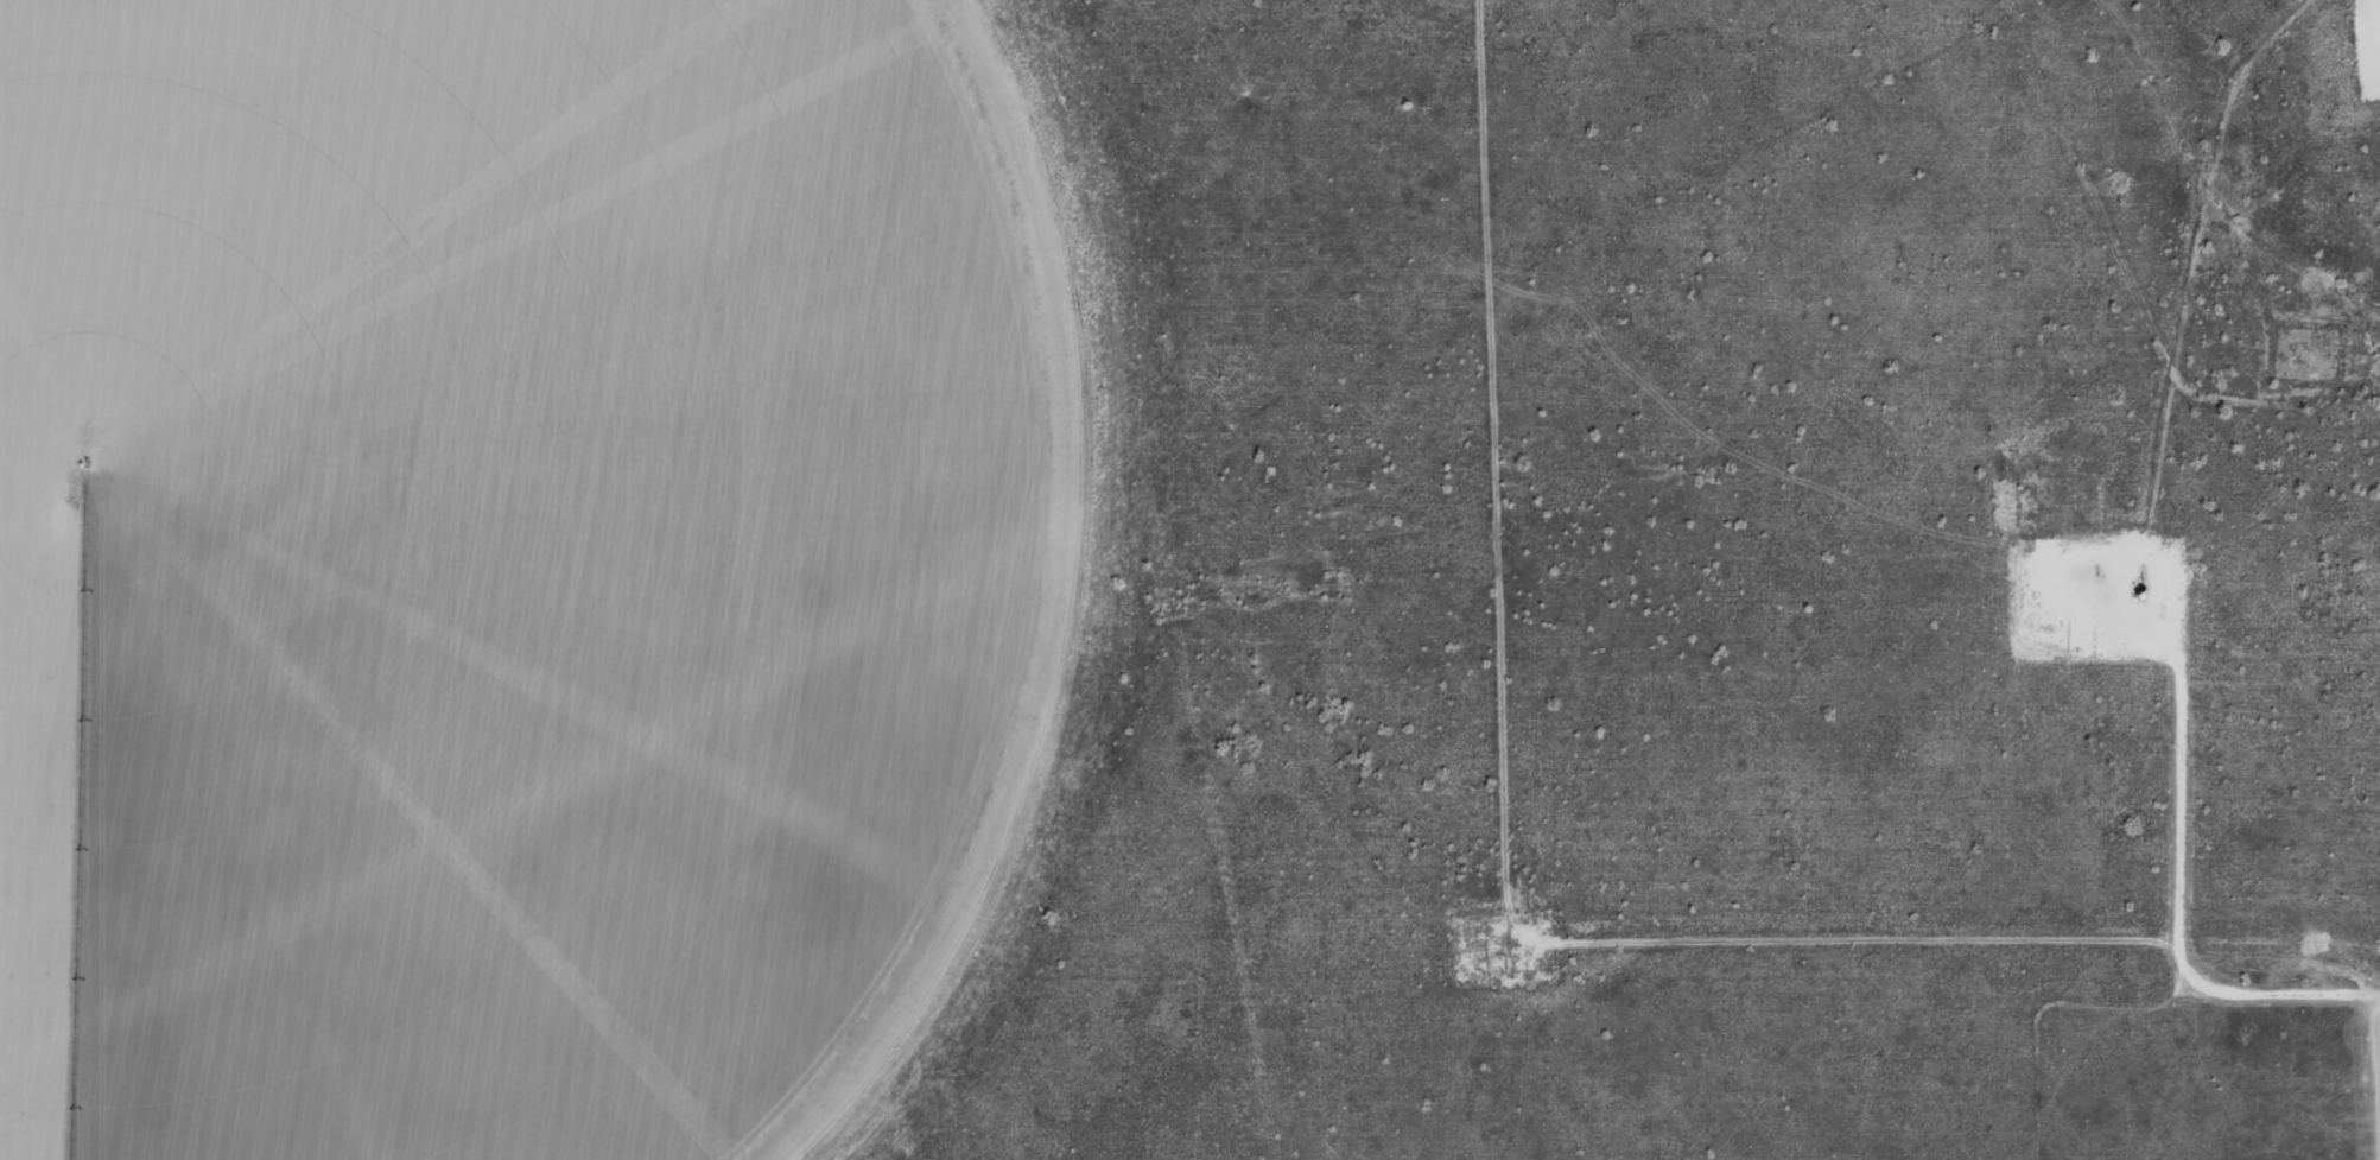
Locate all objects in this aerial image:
road: (2369, 28)
road: (2140, 262)
road: (2169, 583)
road: (2175, 889)

